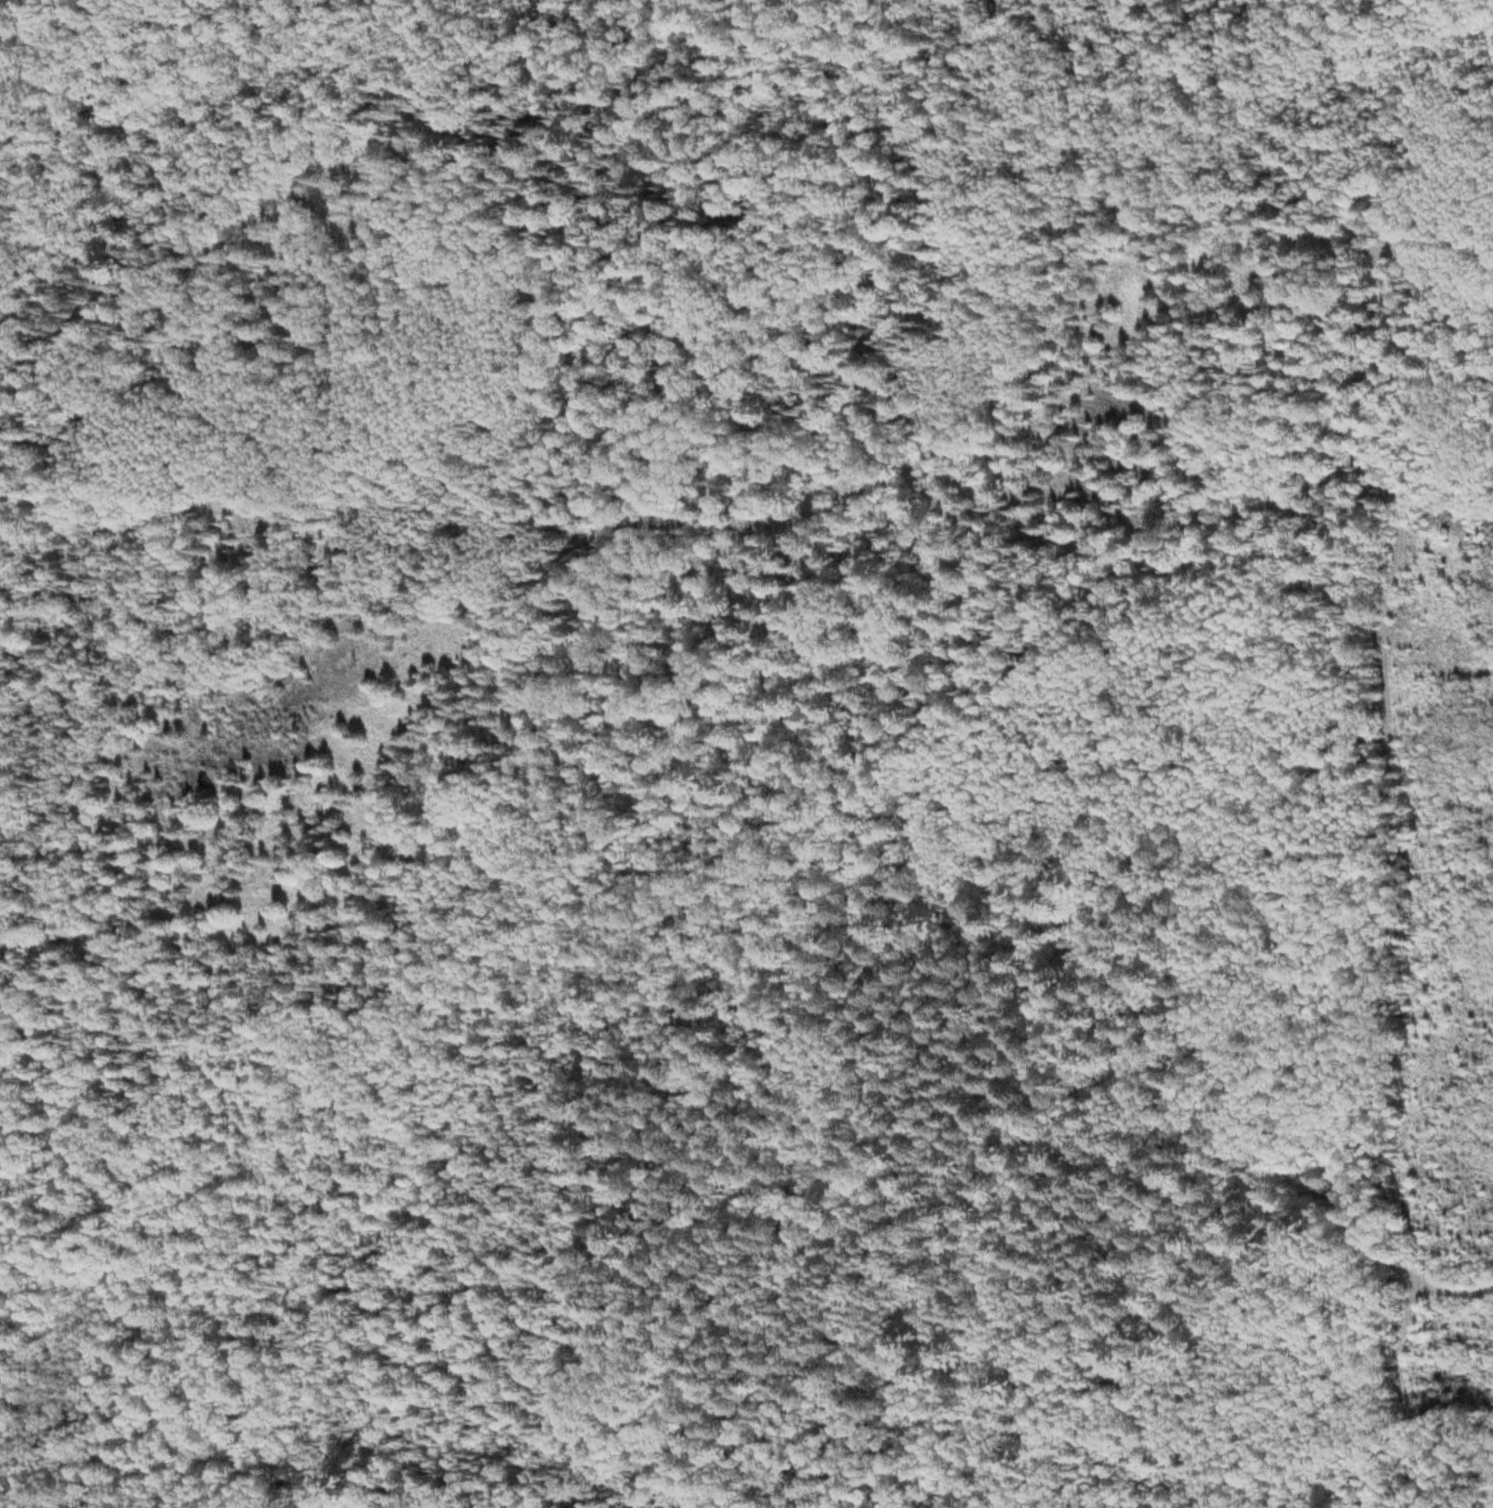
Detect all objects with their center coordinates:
road: (1336, 807)
road: (1389, 1399)

